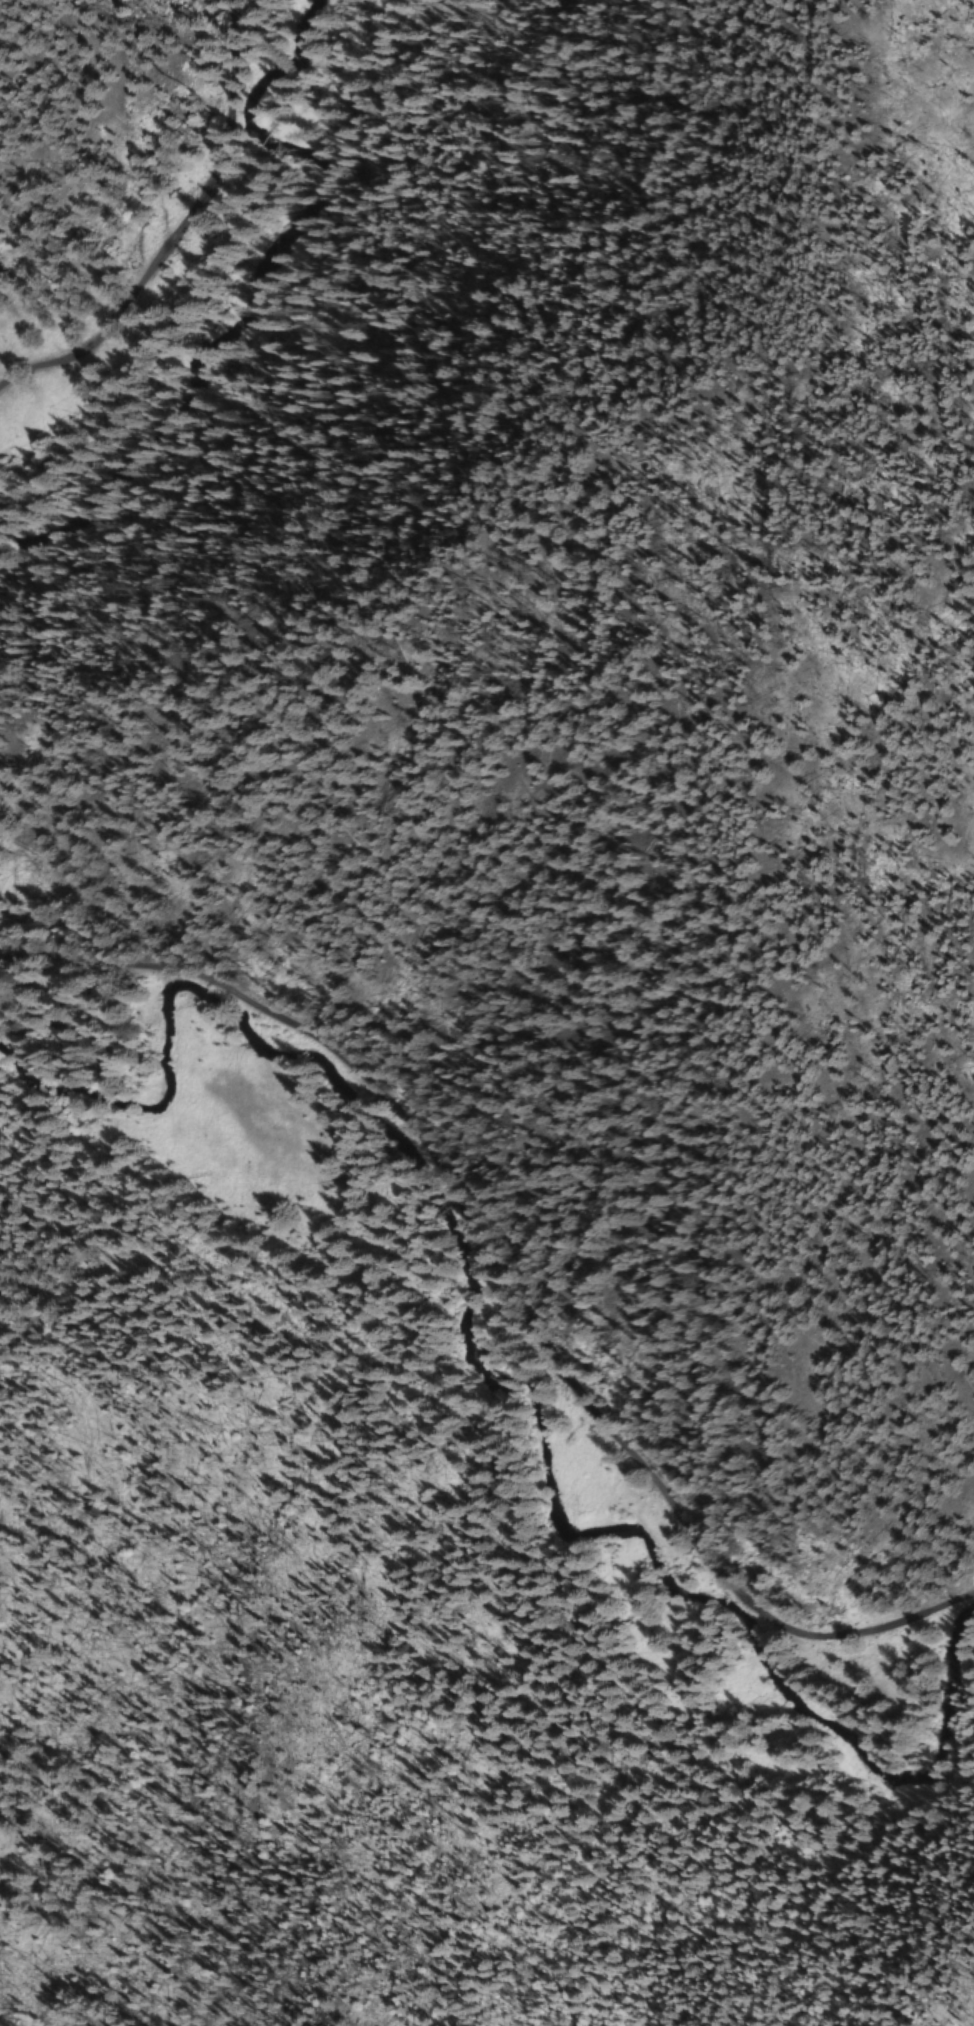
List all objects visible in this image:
road: (175, 228)
river: (248, 296)
road: (498, 1287)
river: (489, 1387)

